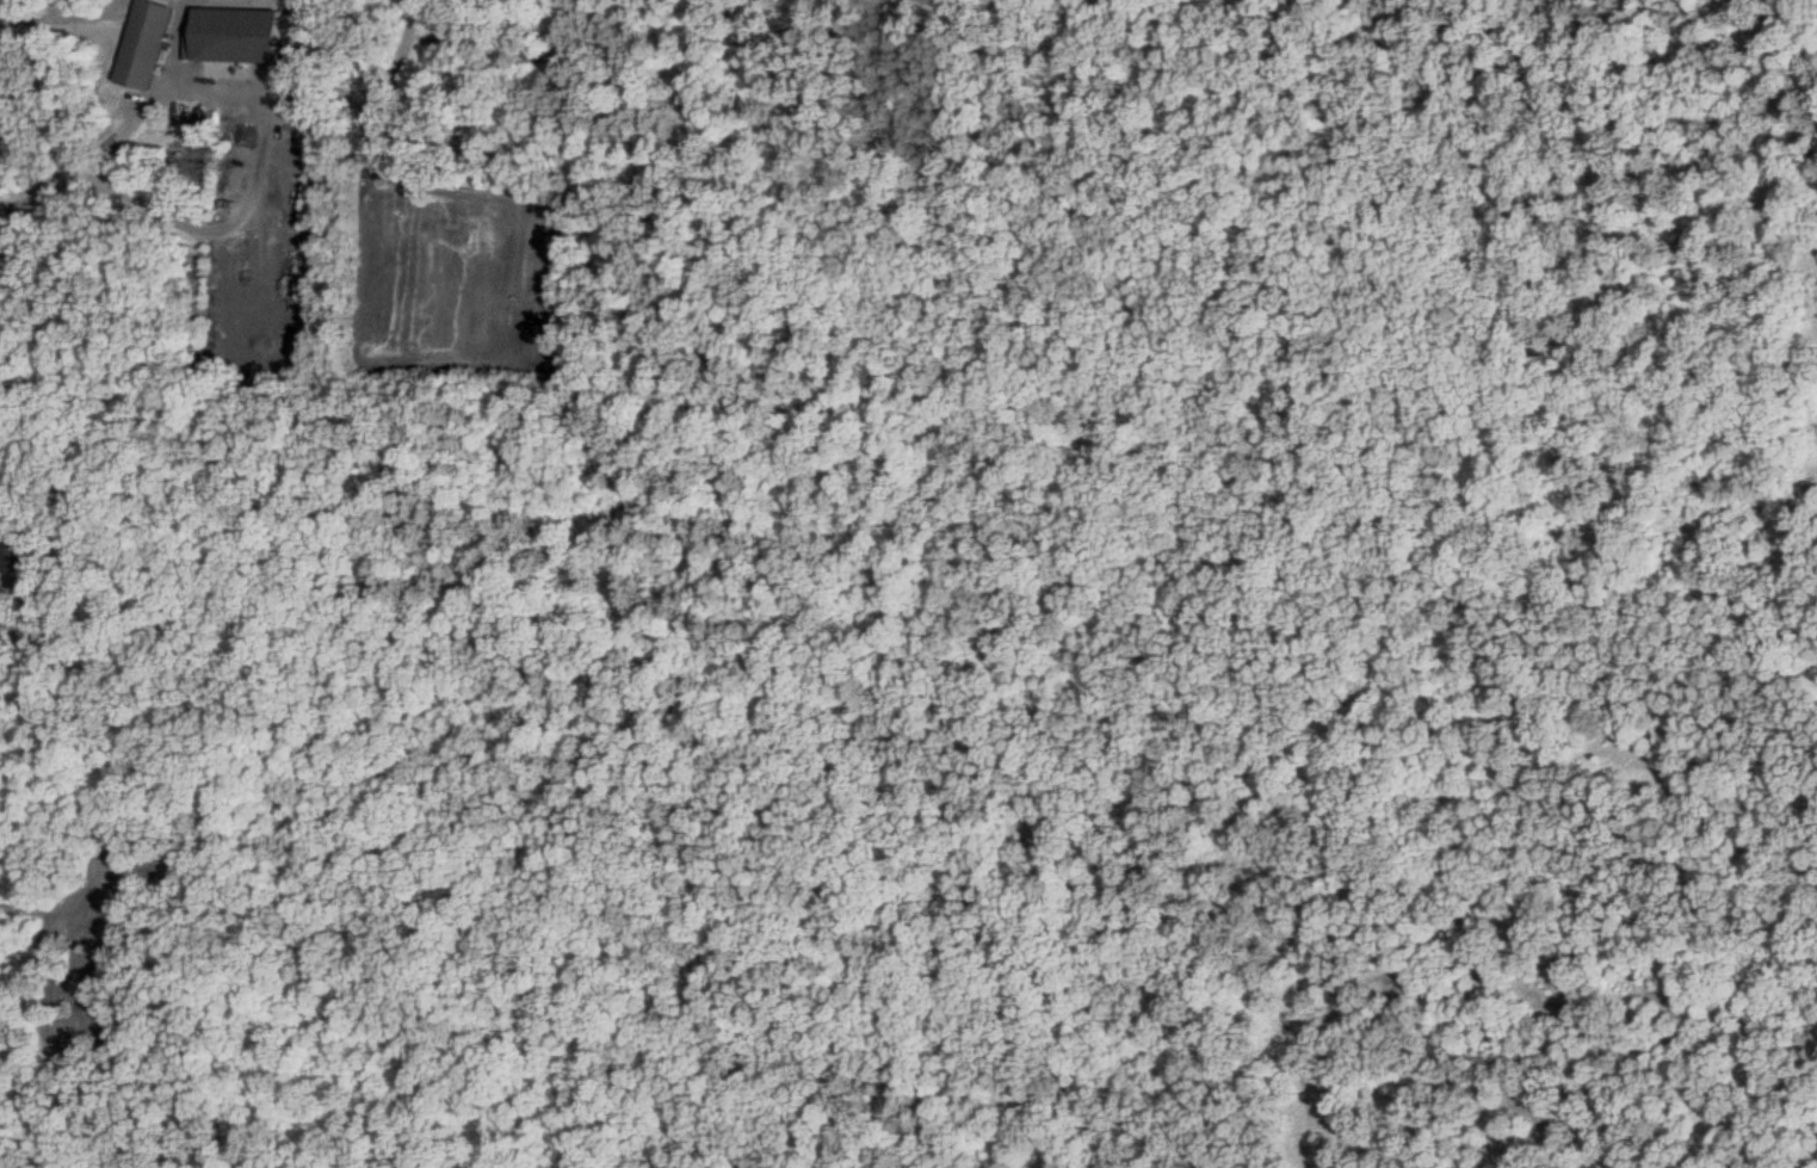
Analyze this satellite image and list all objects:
building: (239, 33)
building: (146, 43)
road: (257, 156)
road: (48, 177)
building: (17, 554)
building: (29, 591)

